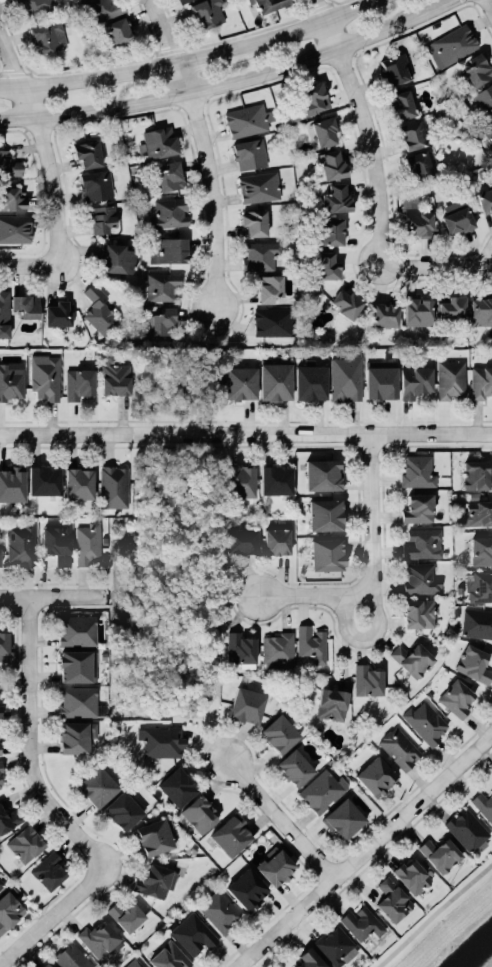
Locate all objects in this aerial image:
building: (181, 0)
road: (490, 1)
building: (265, 5)
road: (434, 5)
building: (35, 6)
building: (103, 8)
building: (208, 12)
road: (307, 23)
building: (118, 30)
building: (47, 36)
building: (451, 44)
road: (213, 52)
building: (394, 67)
building: (477, 70)
road: (91, 77)
road: (215, 83)
building: (484, 99)
building: (307, 101)
building: (402, 104)
building: (247, 119)
building: (488, 129)
building: (324, 131)
building: (413, 134)
building: (158, 142)
road: (205, 151)
building: (87, 153)
building: (249, 153)
building: (9, 163)
building: (332, 163)
building: (419, 165)
road: (49, 170)
road: (383, 171)
building: (170, 175)
building: (96, 185)
building: (258, 186)
building: (12, 197)
building: (335, 197)
building: (485, 199)
building: (169, 212)
building: (102, 218)
building: (415, 218)
building: (457, 219)
building: (253, 222)
building: (15, 228)
building: (331, 230)
building: (170, 250)
building: (259, 254)
building: (116, 257)
building: (327, 264)
building: (163, 286)
building: (269, 287)
building: (345, 301)
building: (25, 305)
building: (452, 306)
building: (99, 309)
building: (481, 309)
building: (418, 311)
building: (4, 312)
building: (58, 312)
building: (384, 314)
building: (161, 320)
building: (274, 321)
building: (45, 375)
building: (114, 375)
building: (345, 377)
building: (451, 379)
building: (415, 380)
building: (11, 381)
building: (274, 381)
building: (380, 381)
building: (481, 381)
building: (239, 382)
building: (310, 382)
building: (79, 383)
road: (246, 433)
building: (417, 470)
building: (323, 473)
building: (476, 474)
building: (276, 478)
building: (45, 479)
building: (240, 480)
building: (12, 482)
building: (79, 482)
building: (113, 485)
building: (417, 507)
building: (474, 512)
building: (325, 514)
building: (241, 540)
building: (276, 540)
building: (88, 542)
building: (419, 542)
building: (56, 543)
building: (20, 544)
building: (481, 549)
building: (0, 553)
building: (327, 553)
road: (372, 563)
building: (419, 577)
building: (479, 585)
road: (46, 597)
building: (418, 612)
building: (477, 622)
building: (76, 629)
road: (369, 636)
building: (311, 641)
building: (3, 642)
building: (239, 648)
building: (277, 649)
building: (412, 657)
building: (474, 662)
building: (76, 665)
building: (367, 679)
building: (456, 697)
building: (79, 701)
building: (331, 703)
building: (246, 704)
building: (0, 710)
building: (425, 721)
building: (280, 731)
building: (73, 736)
building: (161, 740)
road: (29, 742)
building: (399, 747)
building: (0, 750)
building: (294, 767)
building: (1, 775)
building: (375, 775)
building: (97, 785)
building: (177, 785)
building: (322, 790)
building: (484, 804)
building: (122, 810)
building: (200, 813)
building: (8, 817)
building: (343, 817)
road: (283, 820)
building: (467, 828)
building: (231, 834)
building: (154, 836)
building: (25, 843)
road: (365, 851)
building: (440, 854)
building: (276, 866)
building: (49, 869)
building: (411, 874)
building: (155, 880)
building: (1, 883)
building: (247, 888)
building: (391, 898)
building: (9, 909)
building: (220, 911)
building: (126, 914)
road: (51, 915)
road: (434, 915)
building: (361, 921)
building: (192, 932)
building: (99, 939)
building: (335, 945)
river: (477, 954)
building: (72, 956)
building: (169, 956)
building: (307, 960)
building: (48, 965)
building: (138, 965)

